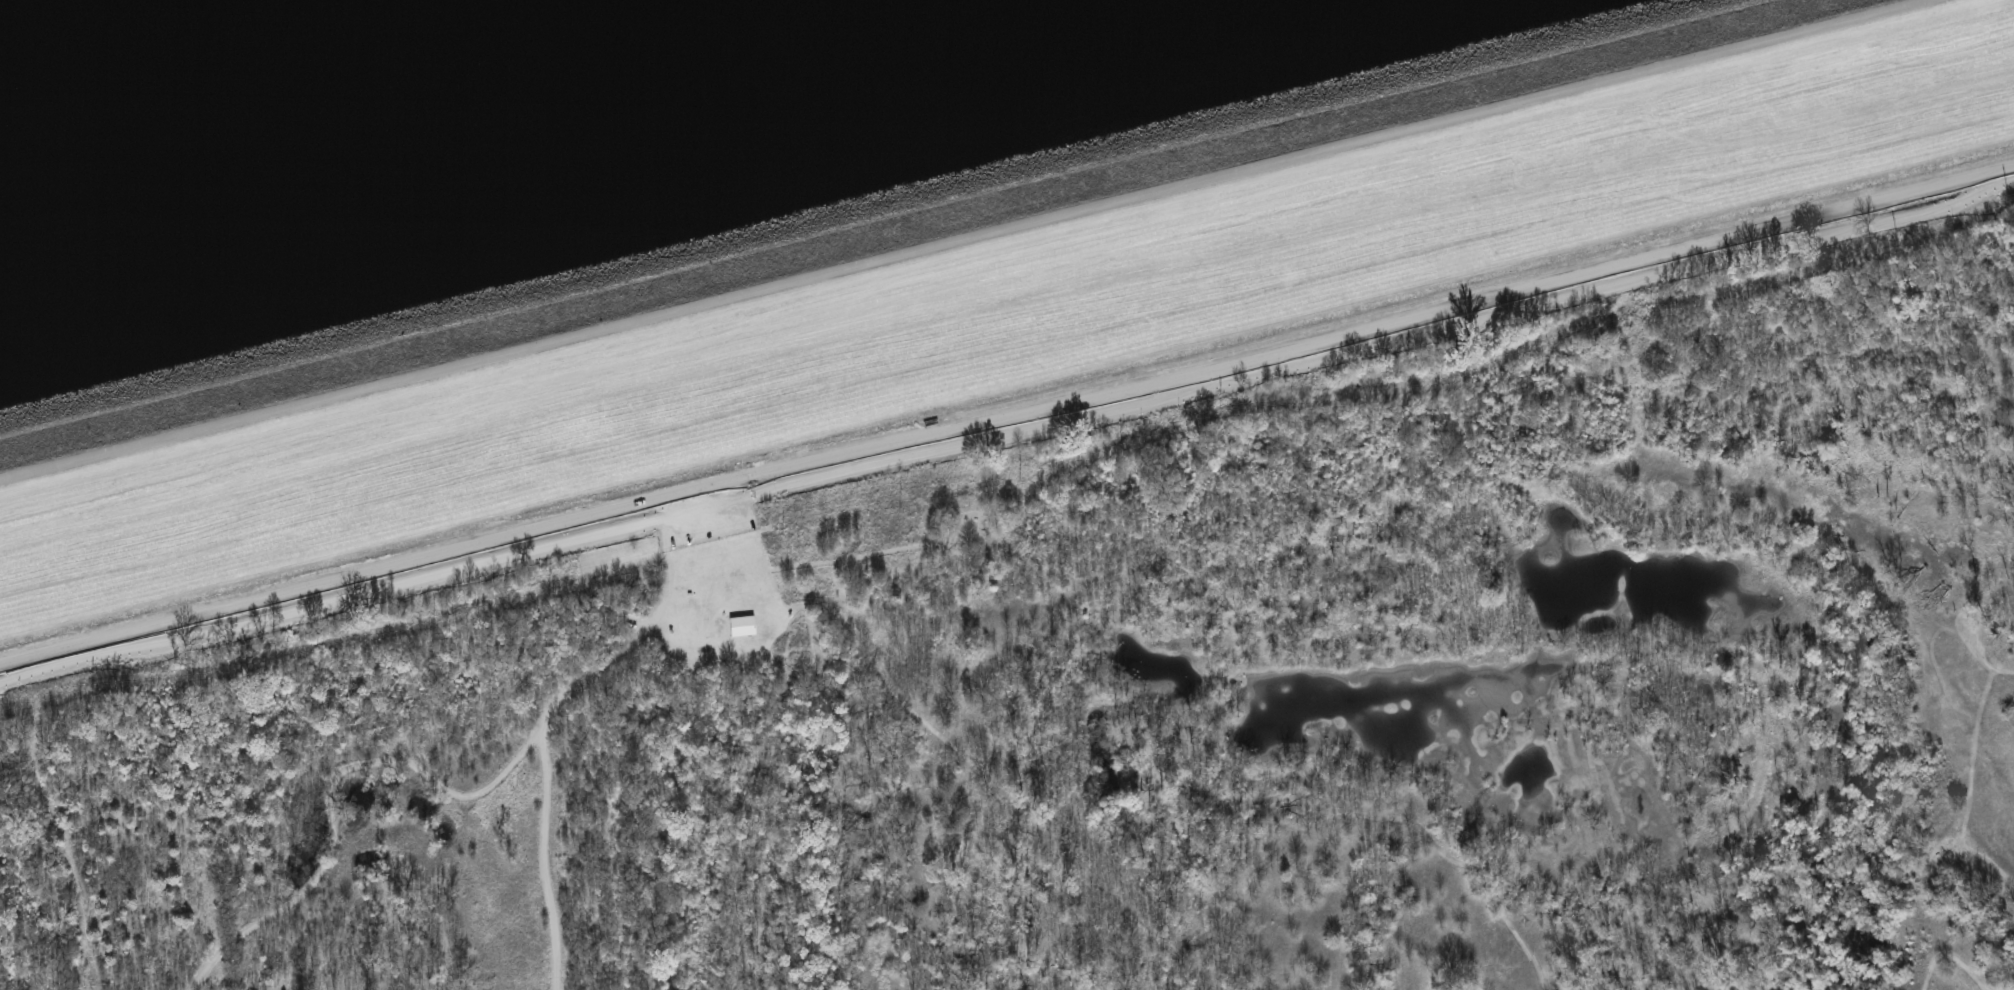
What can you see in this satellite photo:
road: (960, 239)
dam: (976, 286)
road: (1007, 417)
building: (740, 628)
road: (214, 671)
road: (544, 716)
road: (949, 745)
road: (1992, 759)
road: (334, 793)
road: (1375, 813)
road: (1942, 960)

